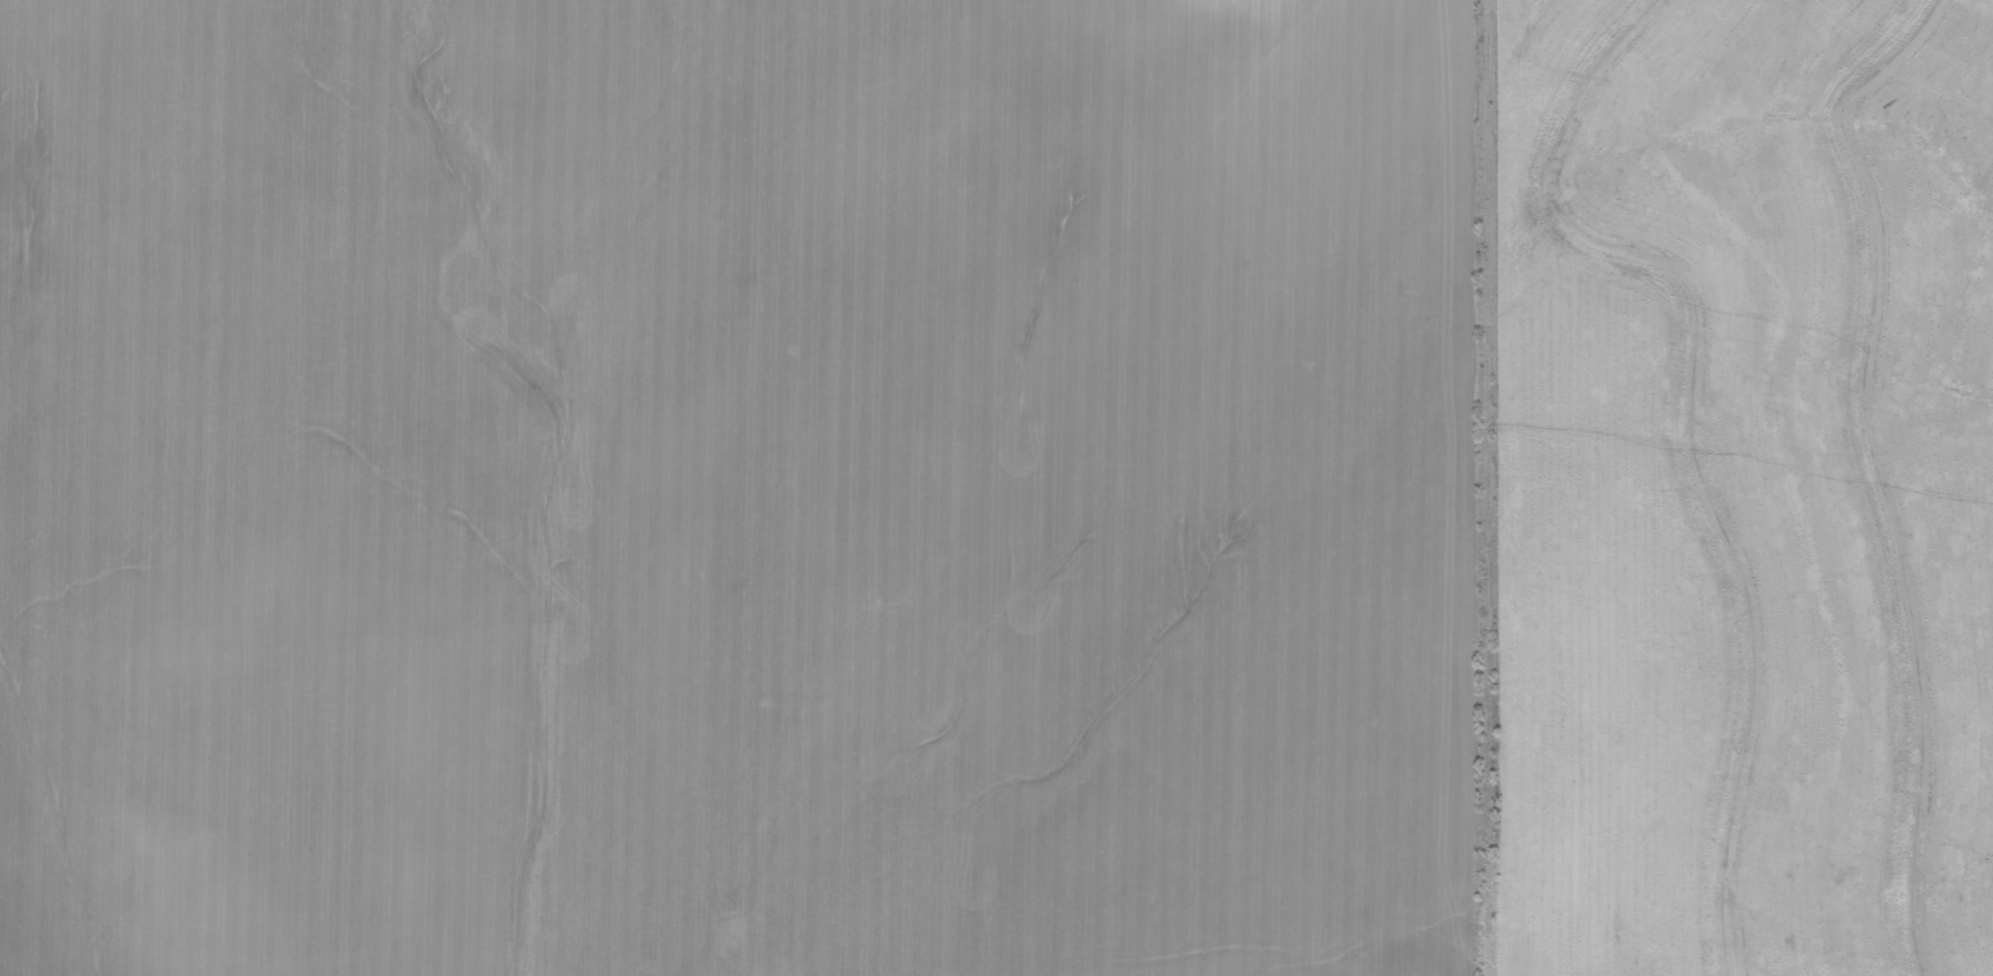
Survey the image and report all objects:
road: (1449, 488)

